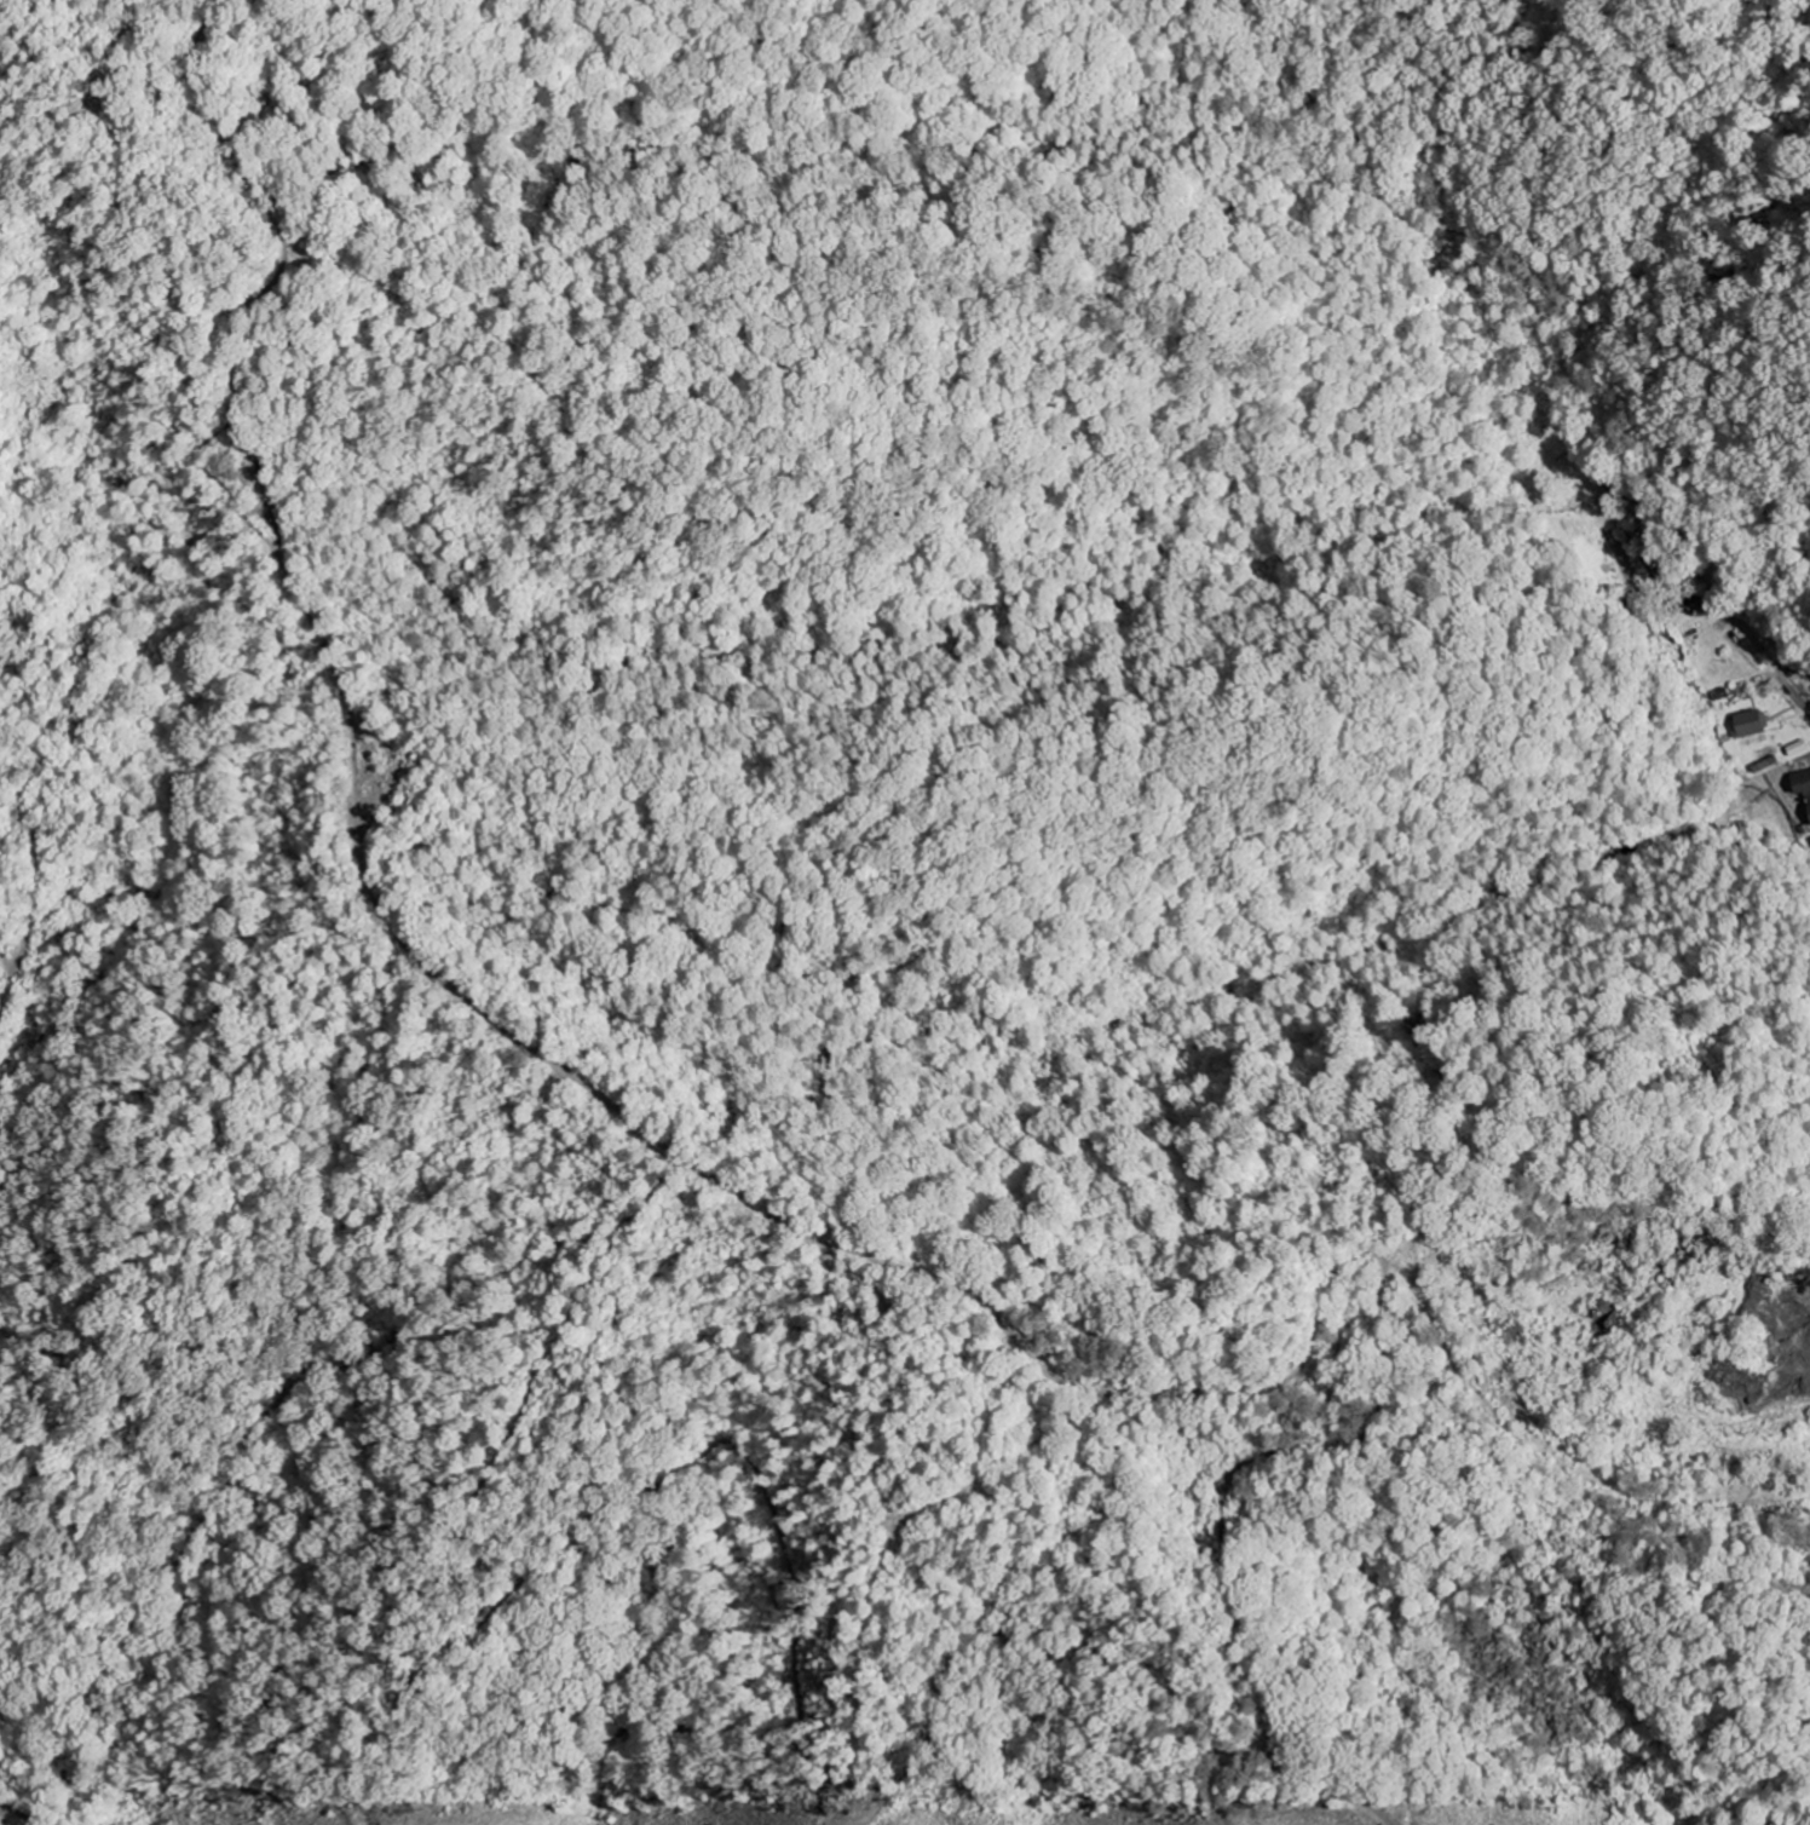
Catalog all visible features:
road: (1802, 700)
building: (1753, 724)
building: (1804, 783)

